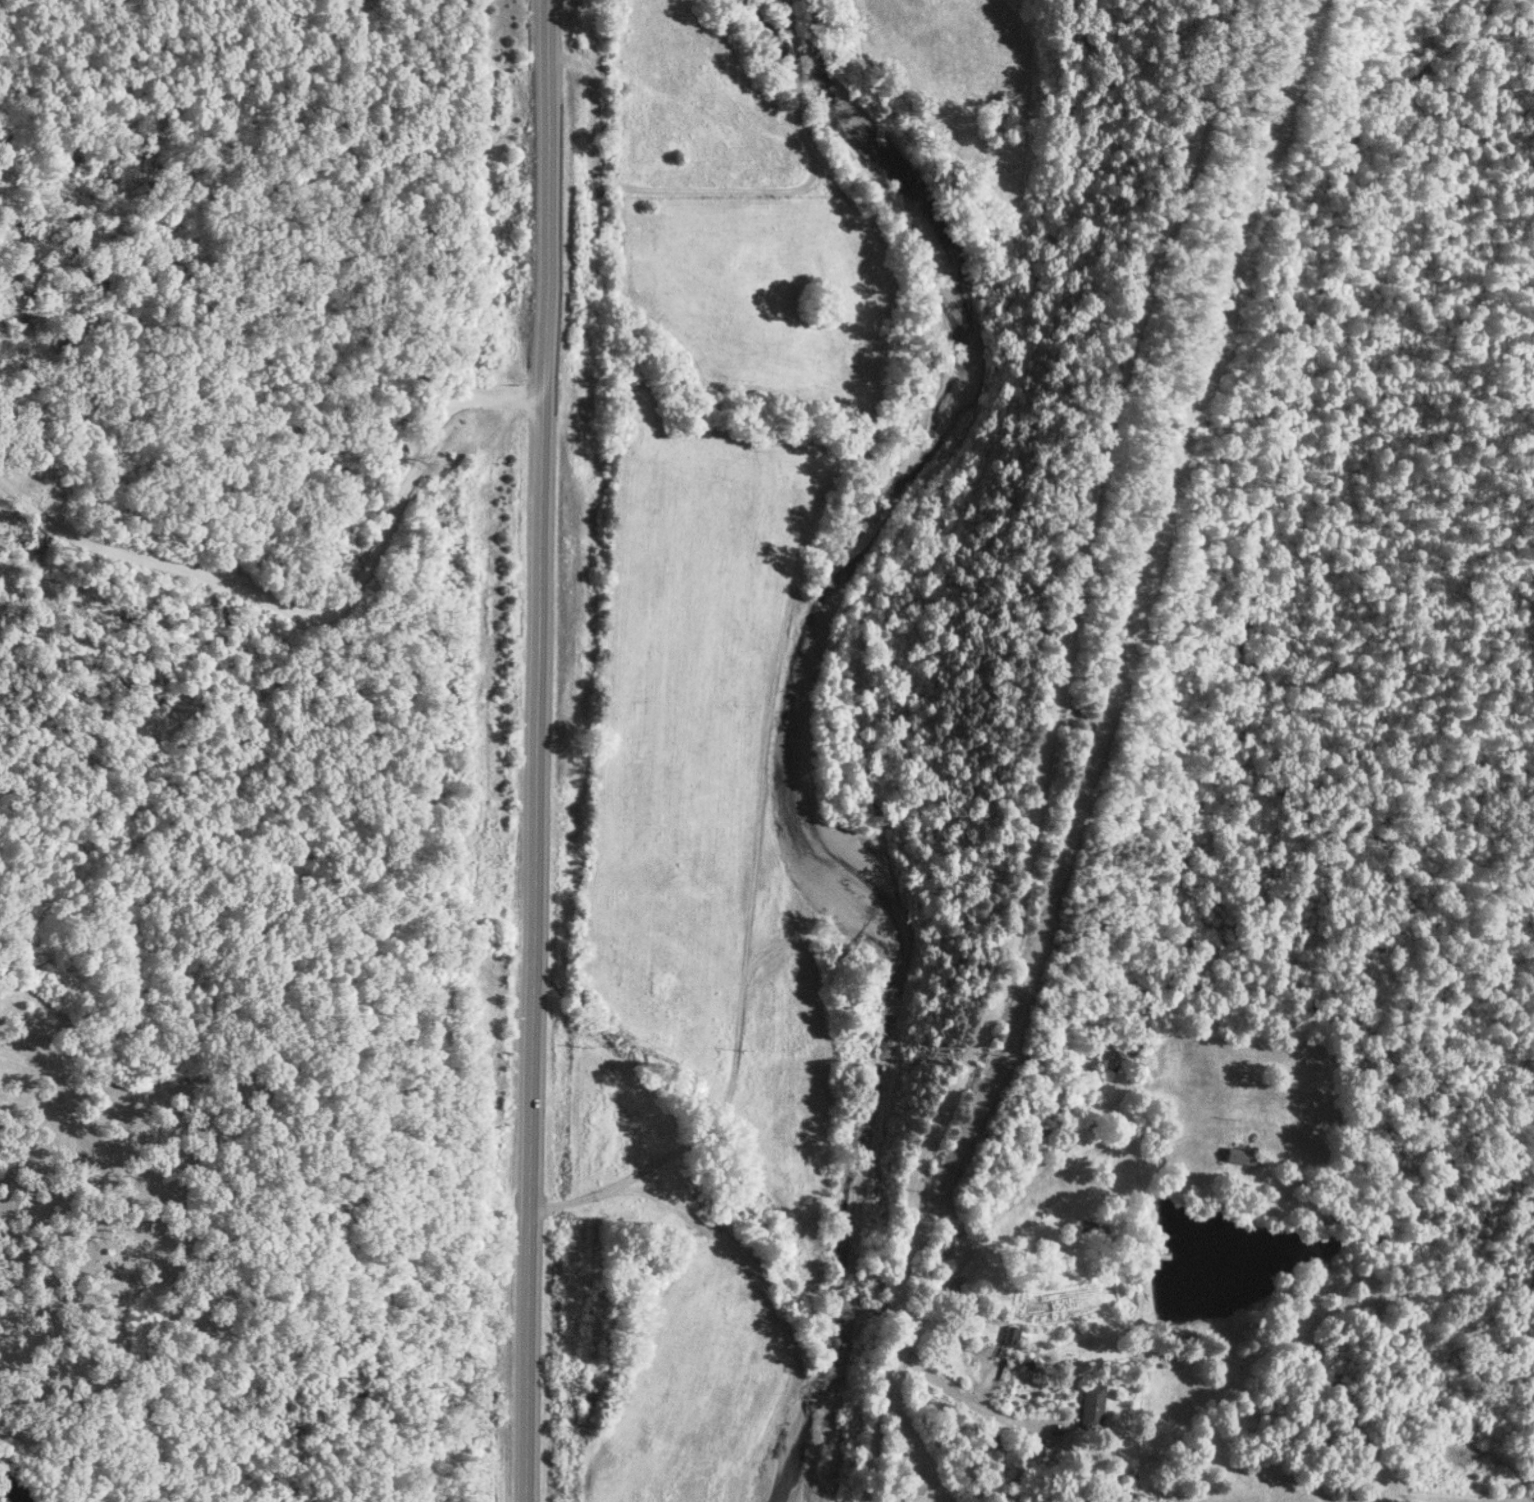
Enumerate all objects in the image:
road: (1087, 287)
road: (316, 610)
road: (1040, 749)
road: (537, 751)
building: (1240, 1156)
road: (67, 1189)
building: (1012, 1336)
building: (1094, 1404)
building: (9, 1491)

